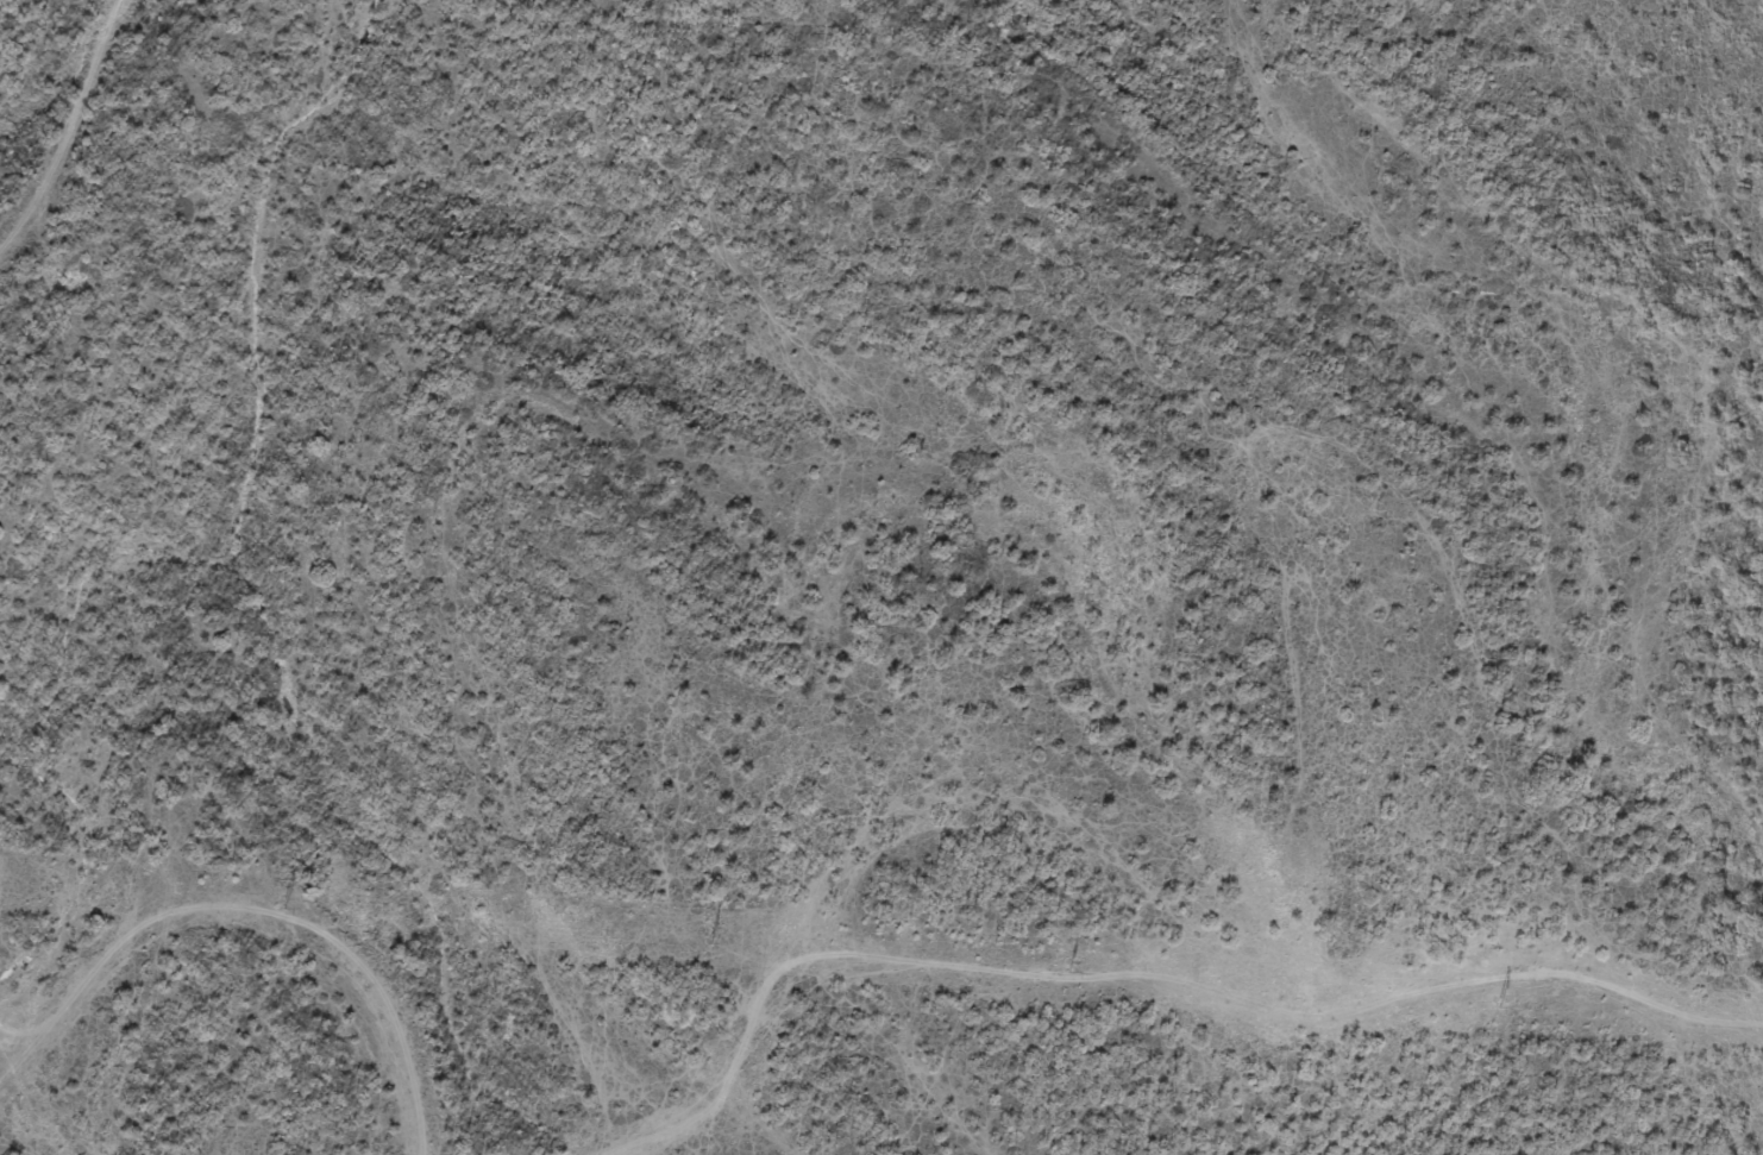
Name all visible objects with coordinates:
power tower: (286, 903)
power tower: (711, 939)
power tower: (1071, 967)
power tower: (1500, 1002)

